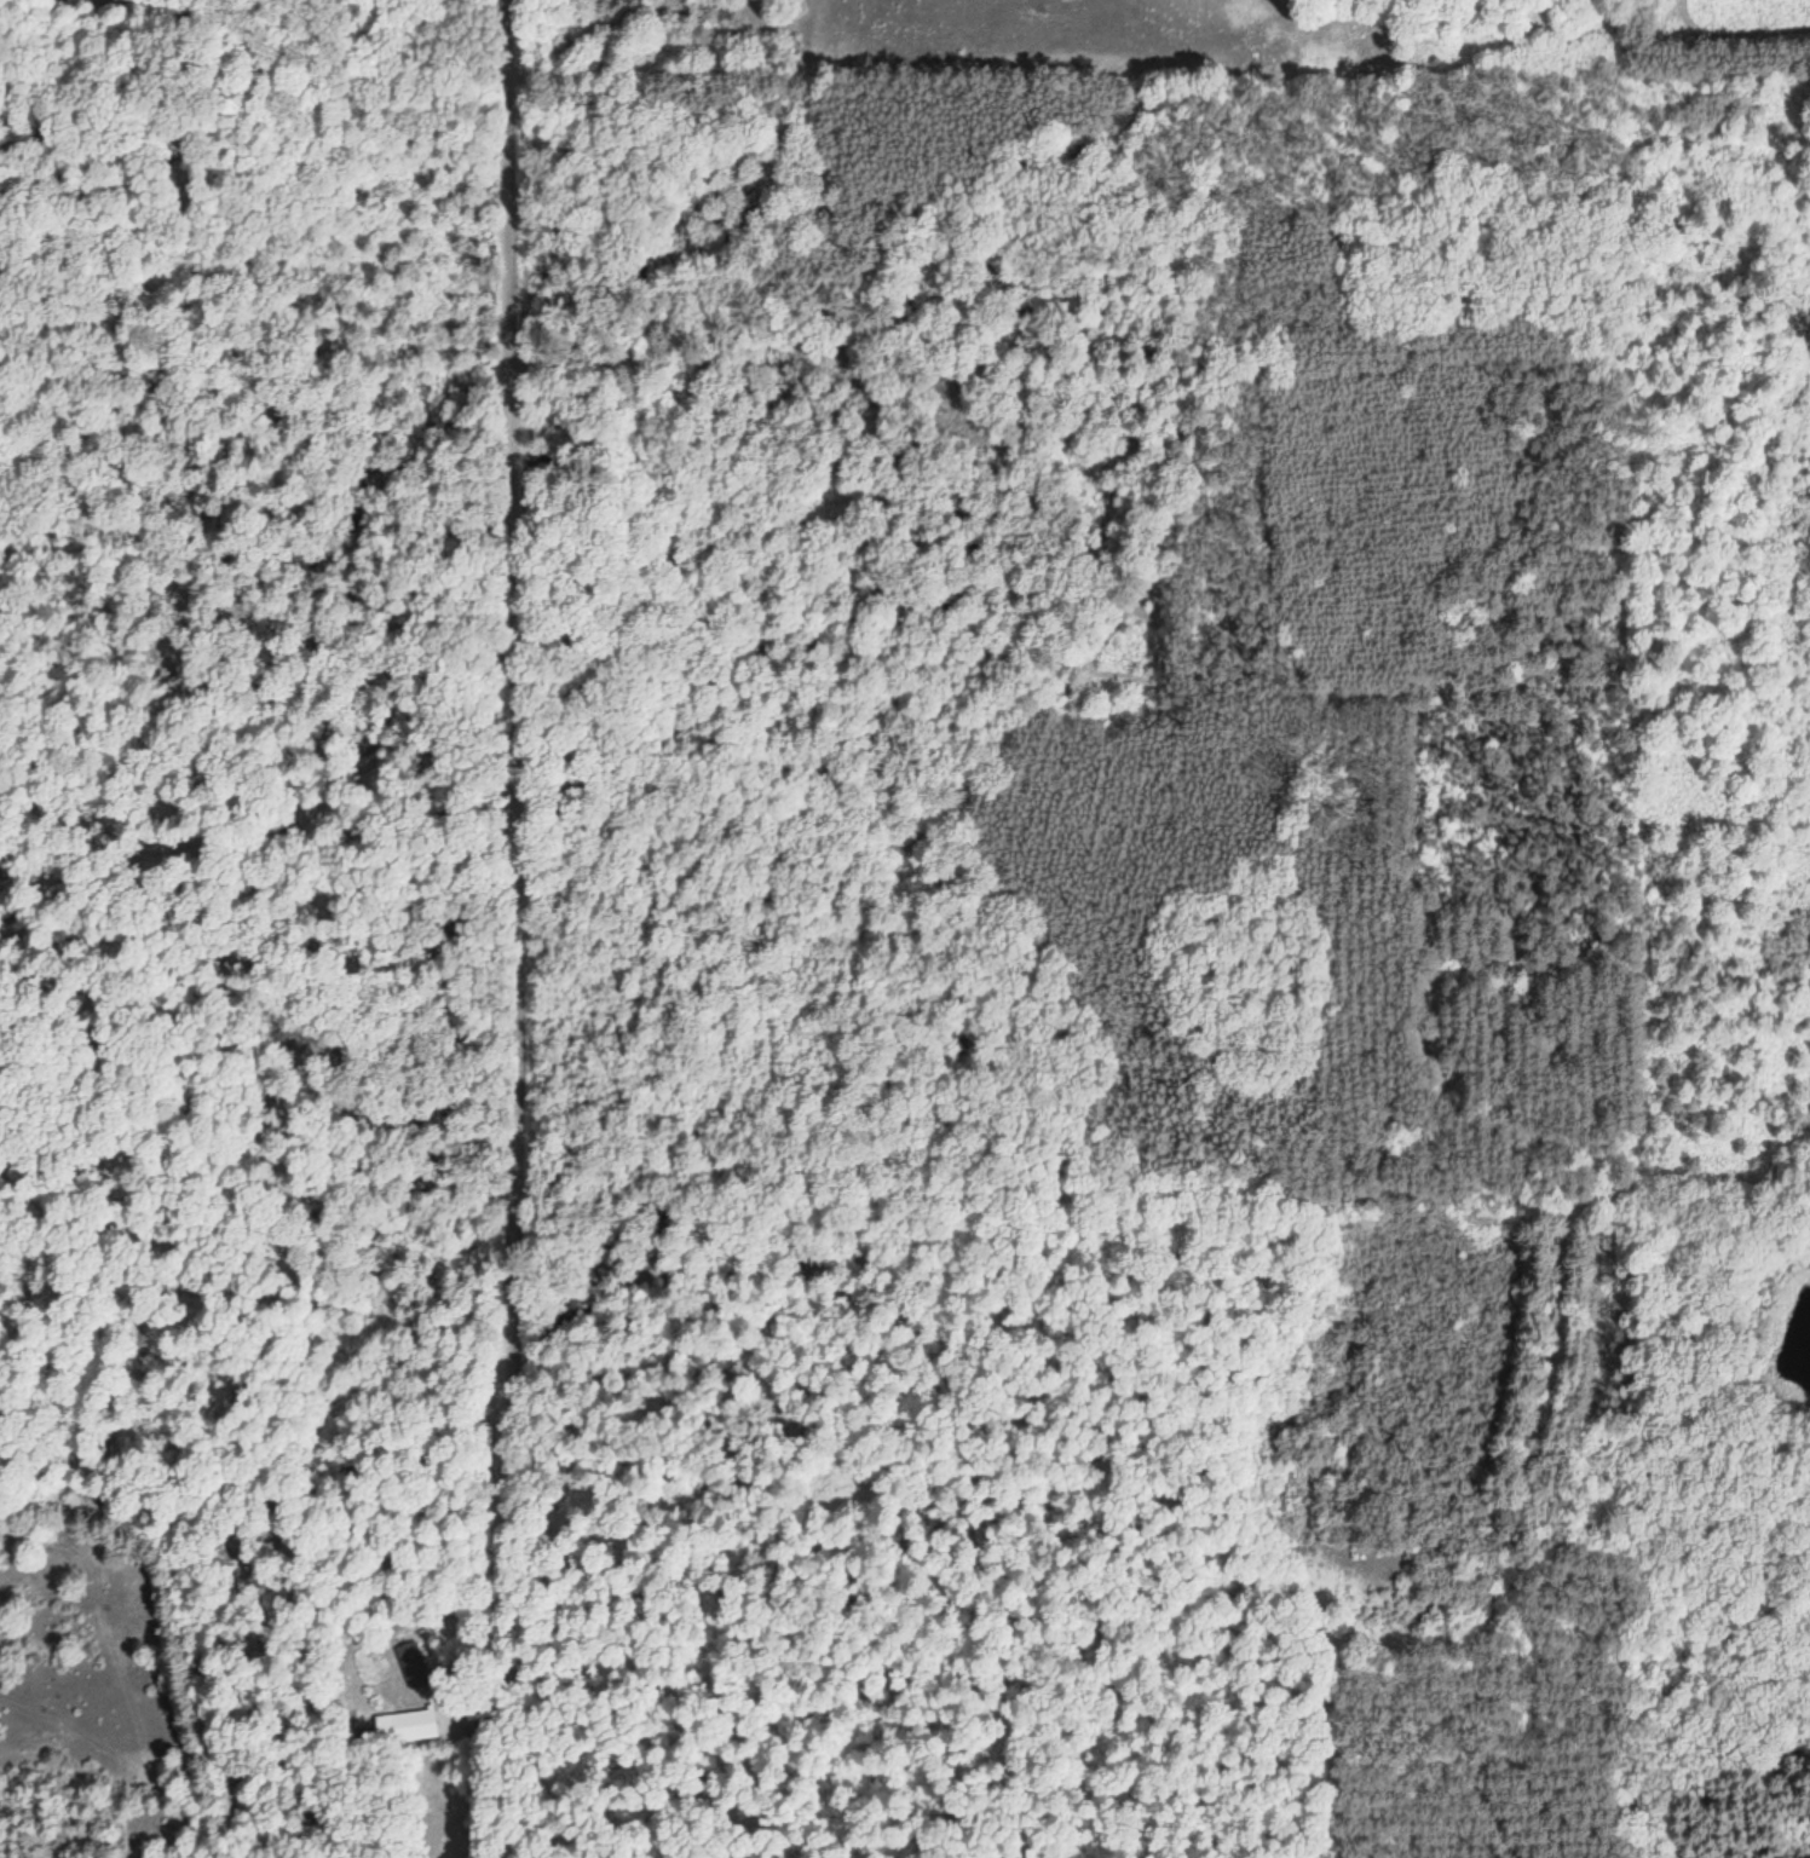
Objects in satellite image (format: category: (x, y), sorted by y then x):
road: (511, 928)
building: (422, 1664)

